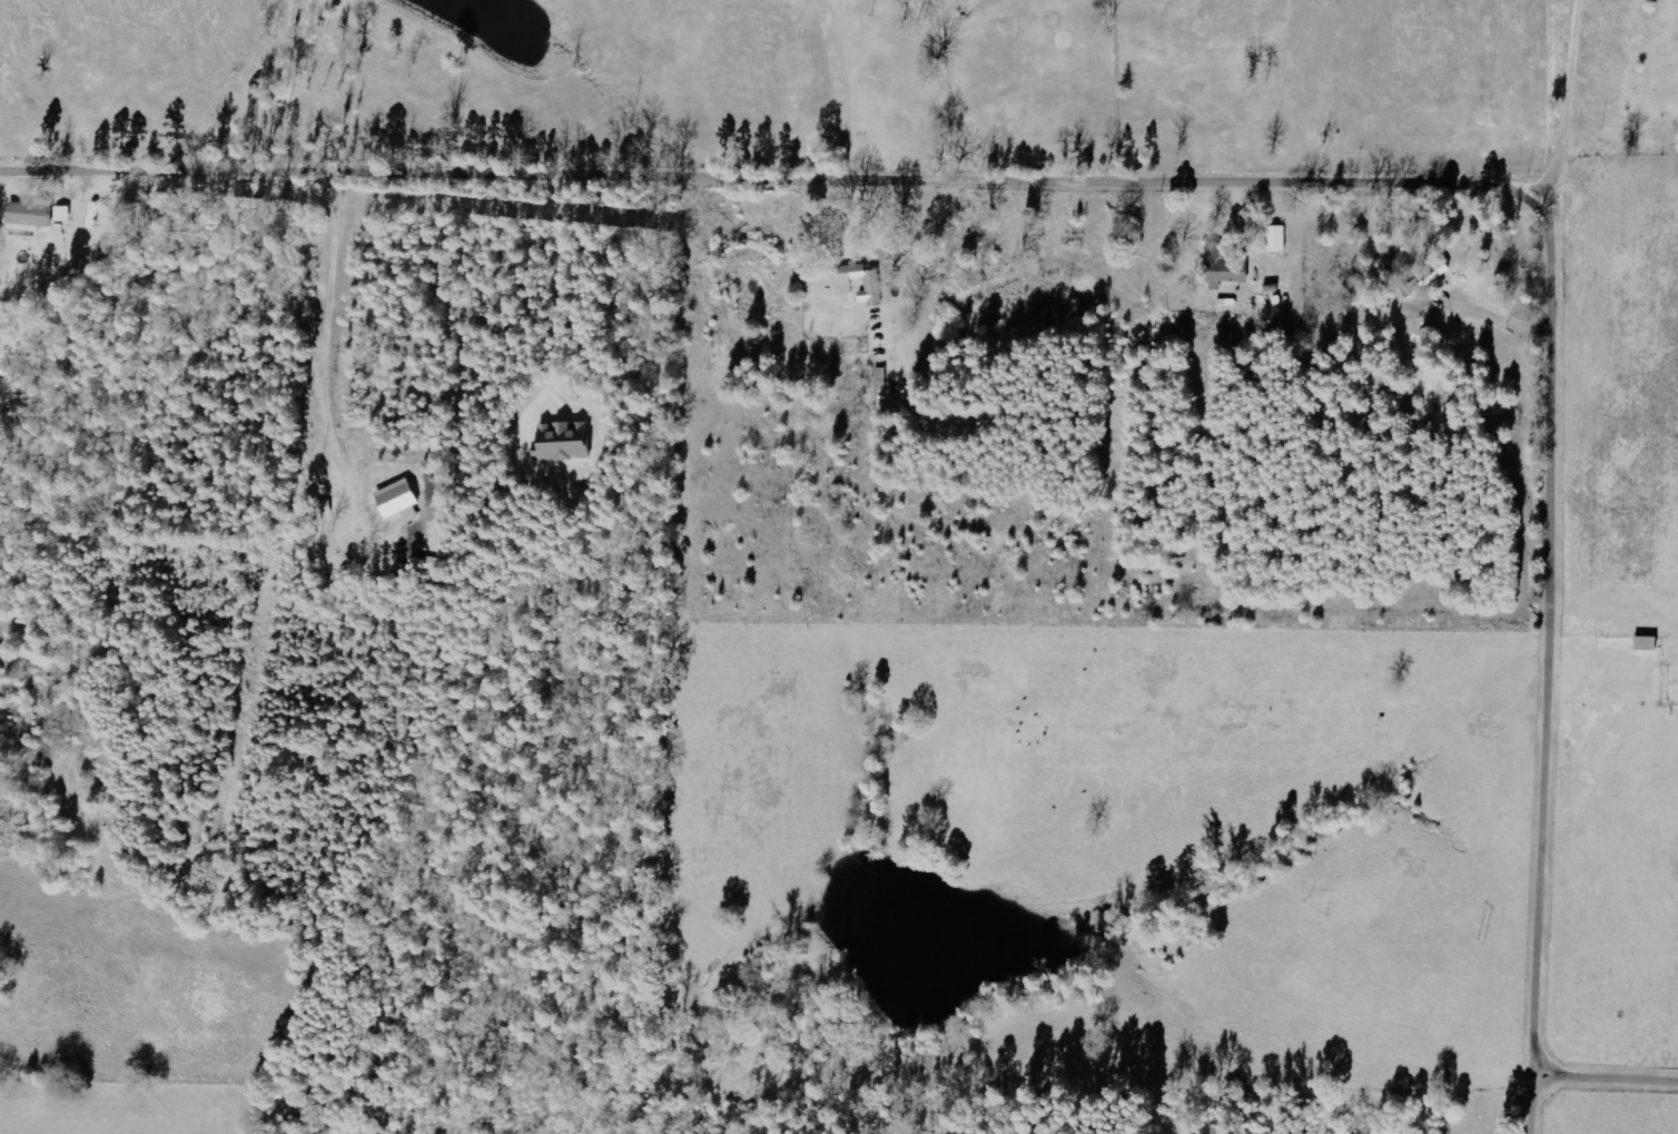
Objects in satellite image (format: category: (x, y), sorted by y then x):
road: (845, 91)
road: (944, 91)
road: (1563, 103)
road: (1242, 185)
building: (65, 214)
building: (32, 217)
building: (1279, 238)
building: (1218, 256)
building: (862, 283)
road: (553, 318)
road: (323, 322)
building: (567, 442)
building: (403, 501)
power tower: (1483, 944)
road: (1611, 1081)

